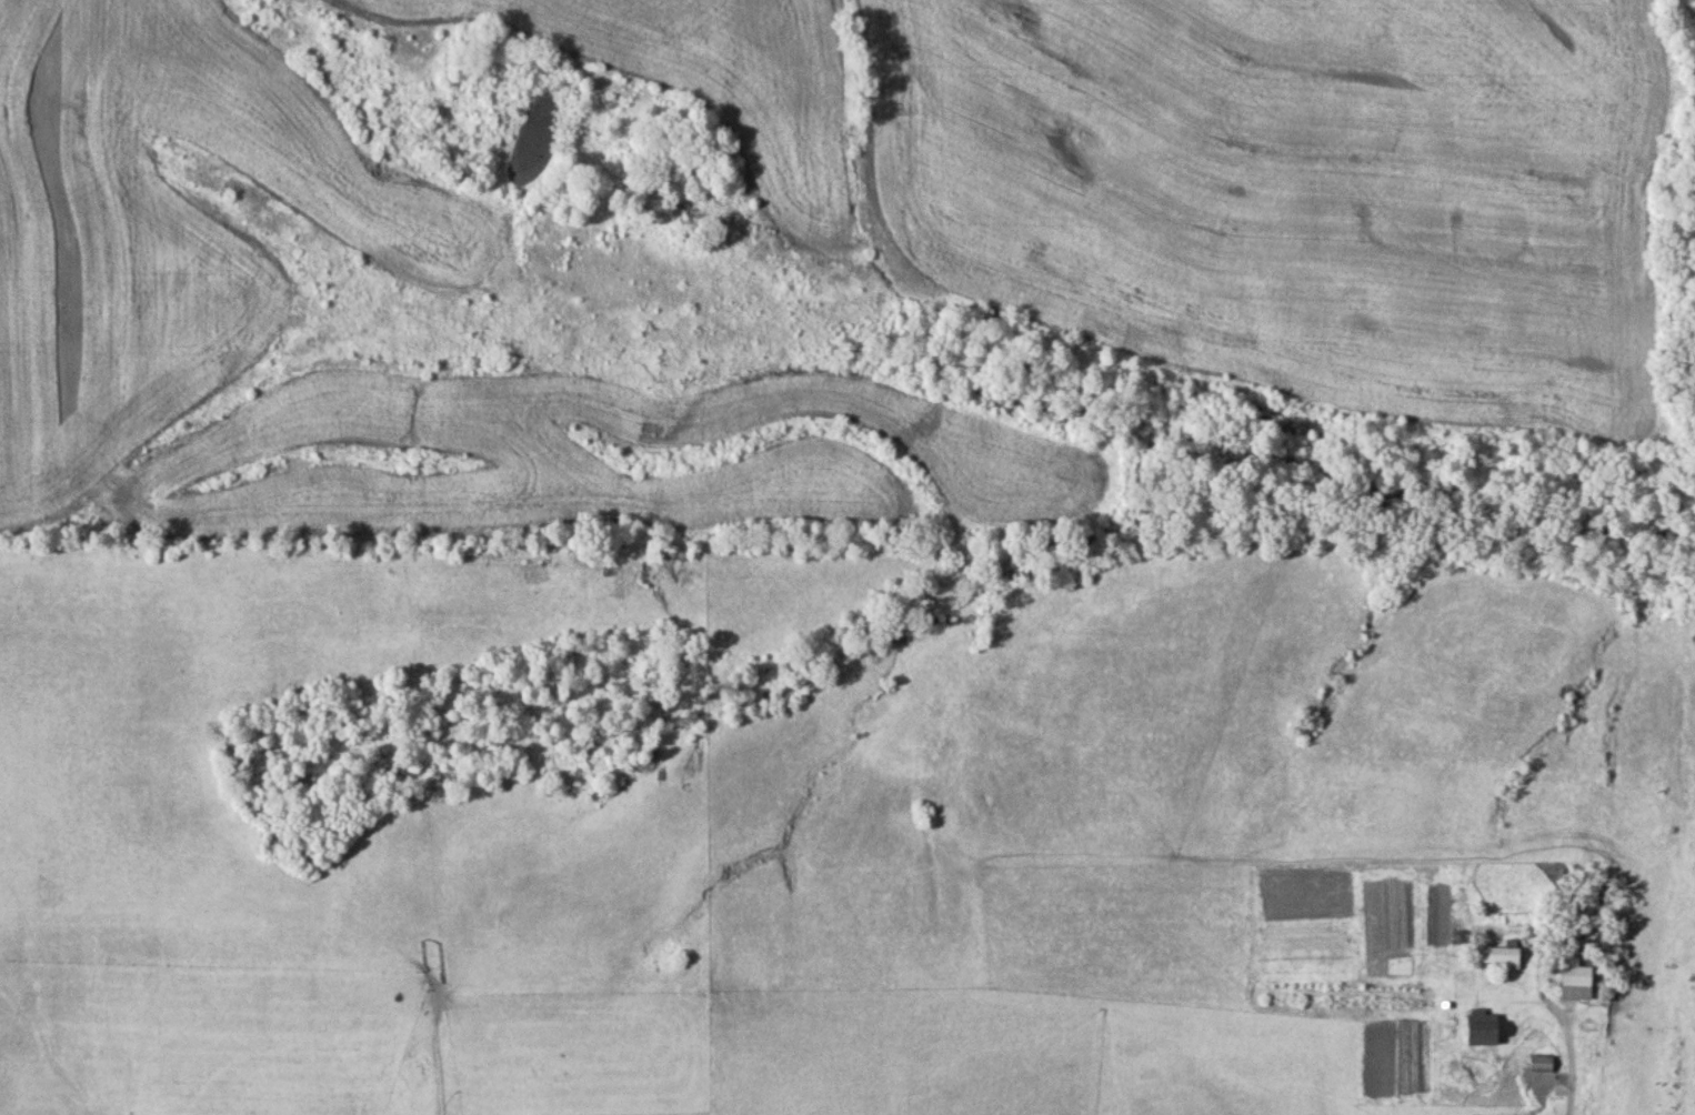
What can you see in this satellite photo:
building: (1504, 956)
building: (1586, 976)

